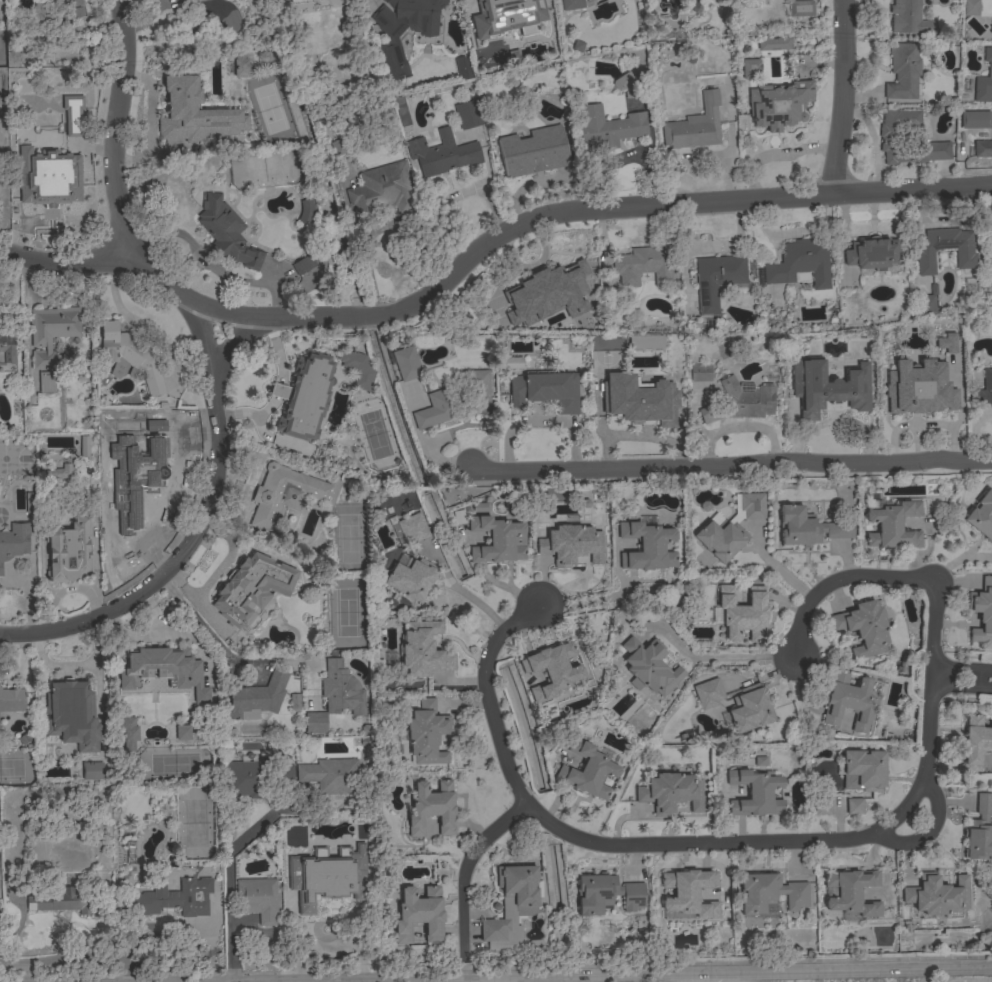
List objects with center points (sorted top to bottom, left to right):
building: (280, 1)
building: (301, 1)
building: (572, 4)
building: (970, 7)
building: (74, 8)
building: (492, 9)
building: (0, 13)
building: (36, 15)
building: (908, 18)
building: (390, 42)
building: (773, 43)
building: (240, 66)
building: (463, 67)
building: (749, 69)
building: (903, 71)
building: (984, 80)
building: (624, 82)
road: (843, 97)
building: (779, 104)
building: (193, 110)
building: (468, 115)
building: (401, 117)
building: (71, 118)
building: (695, 126)
building: (609, 127)
building: (25, 136)
building: (890, 139)
road: (112, 145)
building: (337, 147)
building: (983, 149)
building: (532, 153)
building: (442, 154)
building: (46, 168)
building: (0, 188)
building: (381, 190)
road: (663, 204)
building: (306, 211)
building: (226, 232)
building: (991, 236)
building: (945, 250)
building: (872, 253)
road: (212, 264)
building: (800, 264)
building: (303, 265)
building: (643, 266)
building: (716, 279)
building: (564, 285)
road: (180, 293)
building: (928, 301)
road: (137, 323)
building: (51, 339)
building: (644, 343)
building: (6, 350)
building: (129, 357)
building: (672, 359)
road: (221, 362)
building: (406, 363)
building: (508, 363)
building: (357, 368)
building: (701, 372)
building: (948, 374)
building: (827, 387)
building: (546, 390)
building: (985, 390)
building: (304, 397)
building: (639, 399)
building: (456, 401)
building: (741, 402)
building: (154, 417)
building: (160, 441)
building: (84, 446)
road: (731, 466)
building: (61, 471)
building: (287, 494)
building: (134, 501)
building: (30, 504)
building: (479, 507)
road: (200, 510)
building: (981, 516)
building: (458, 521)
building: (893, 526)
building: (413, 527)
building: (729, 527)
building: (808, 528)
building: (498, 540)
building: (14, 541)
building: (571, 545)
building: (646, 547)
building: (70, 550)
building: (411, 578)
building: (250, 587)
road: (461, 594)
building: (679, 599)
road: (585, 603)
building: (982, 610)
building: (743, 613)
building: (863, 628)
road: (221, 647)
building: (423, 650)
road: (718, 656)
building: (649, 667)
road: (962, 667)
building: (164, 670)
building: (551, 670)
road: (961, 687)
building: (341, 689)
building: (708, 693)
building: (257, 697)
building: (12, 700)
building: (66, 701)
building: (294, 702)
building: (848, 702)
building: (749, 709)
building: (315, 723)
building: (129, 732)
building: (182, 732)
building: (427, 733)
building: (975, 742)
building: (759, 762)
building: (865, 769)
building: (587, 770)
building: (90, 772)
building: (285, 773)
building: (331, 775)
building: (246, 779)
building: (670, 792)
building: (755, 793)
building: (822, 806)
building: (854, 806)
building: (432, 809)
building: (979, 831)
road: (928, 834)
road: (811, 843)
building: (328, 857)
road: (466, 871)
road: (218, 881)
building: (852, 892)
building: (606, 893)
building: (689, 893)
building: (769, 893)
building: (937, 895)
building: (170, 899)
building: (257, 899)
building: (64, 902)
building: (512, 906)
building: (418, 915)
road: (75, 957)
road: (465, 971)
road: (864, 972)
road: (712, 975)
road: (599, 977)
road: (689, 978)
road: (487, 979)
road: (419, 981)
road: (465, 981)

